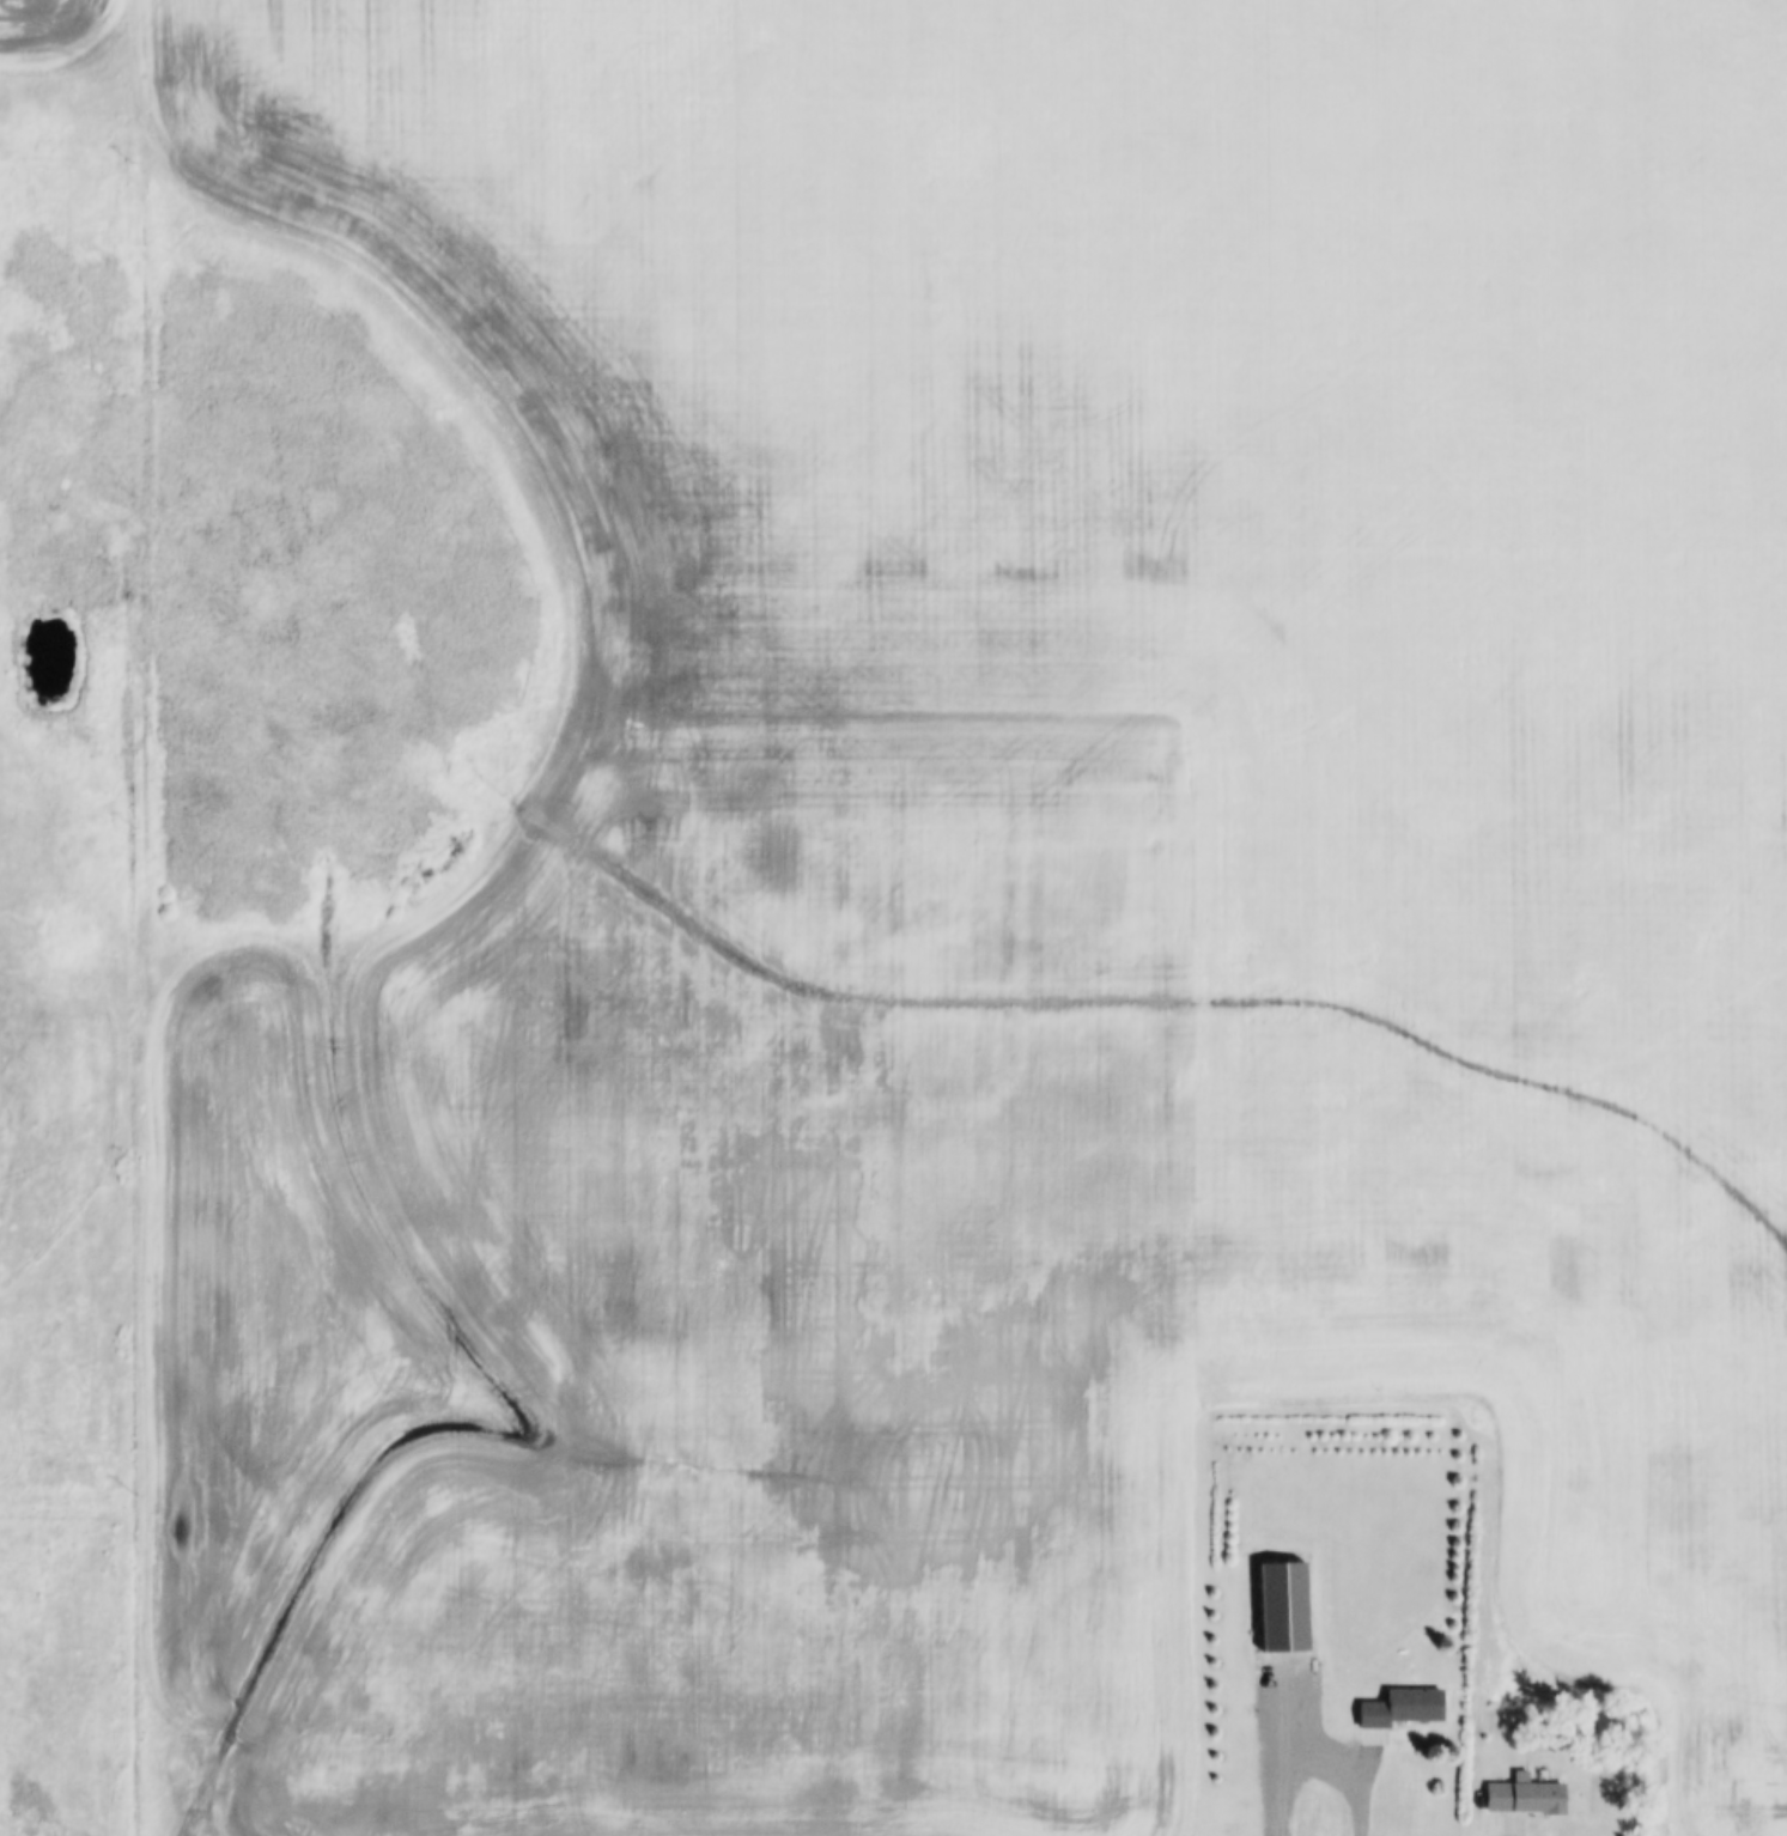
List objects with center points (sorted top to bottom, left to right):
building: (1288, 1606)
building: (1408, 1707)
road: (1366, 1783)
building: (1528, 1798)

